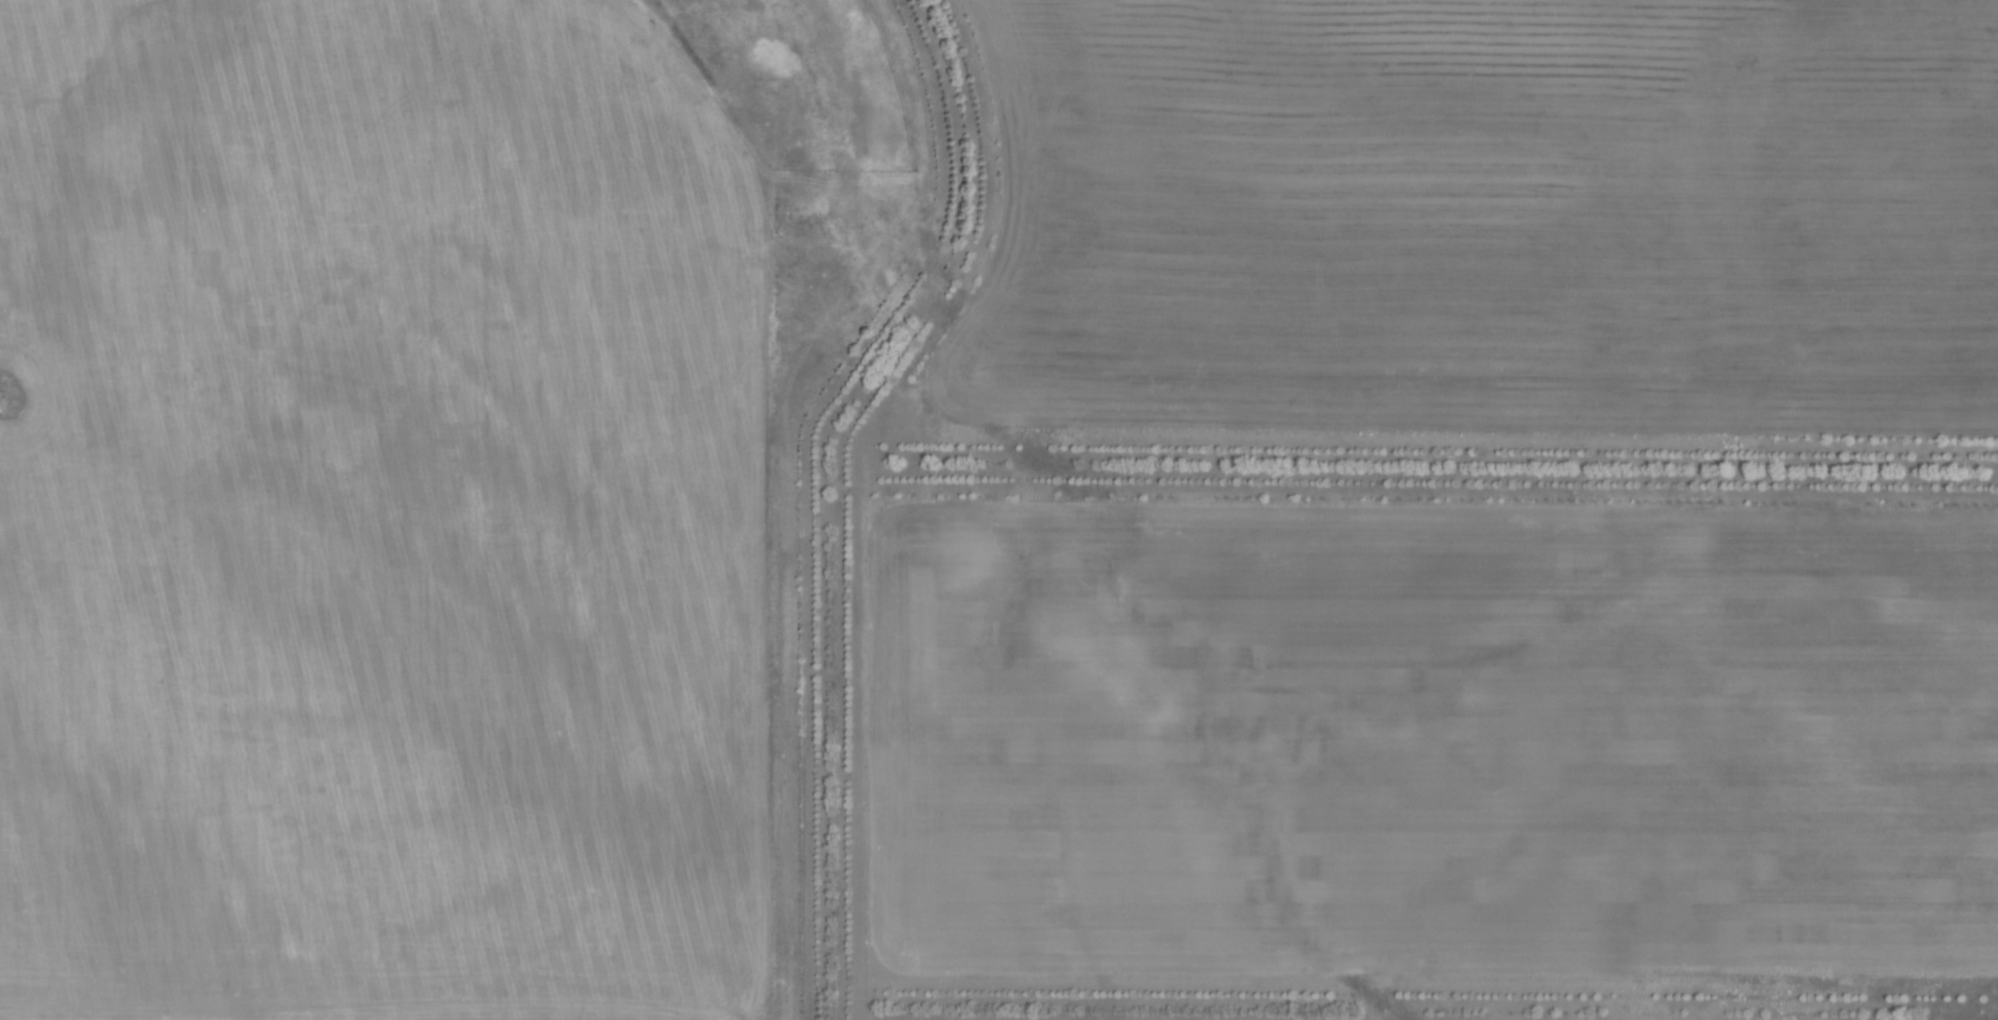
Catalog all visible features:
crop: (1499, 208)
crop: (379, 517)
crop: (1437, 740)

